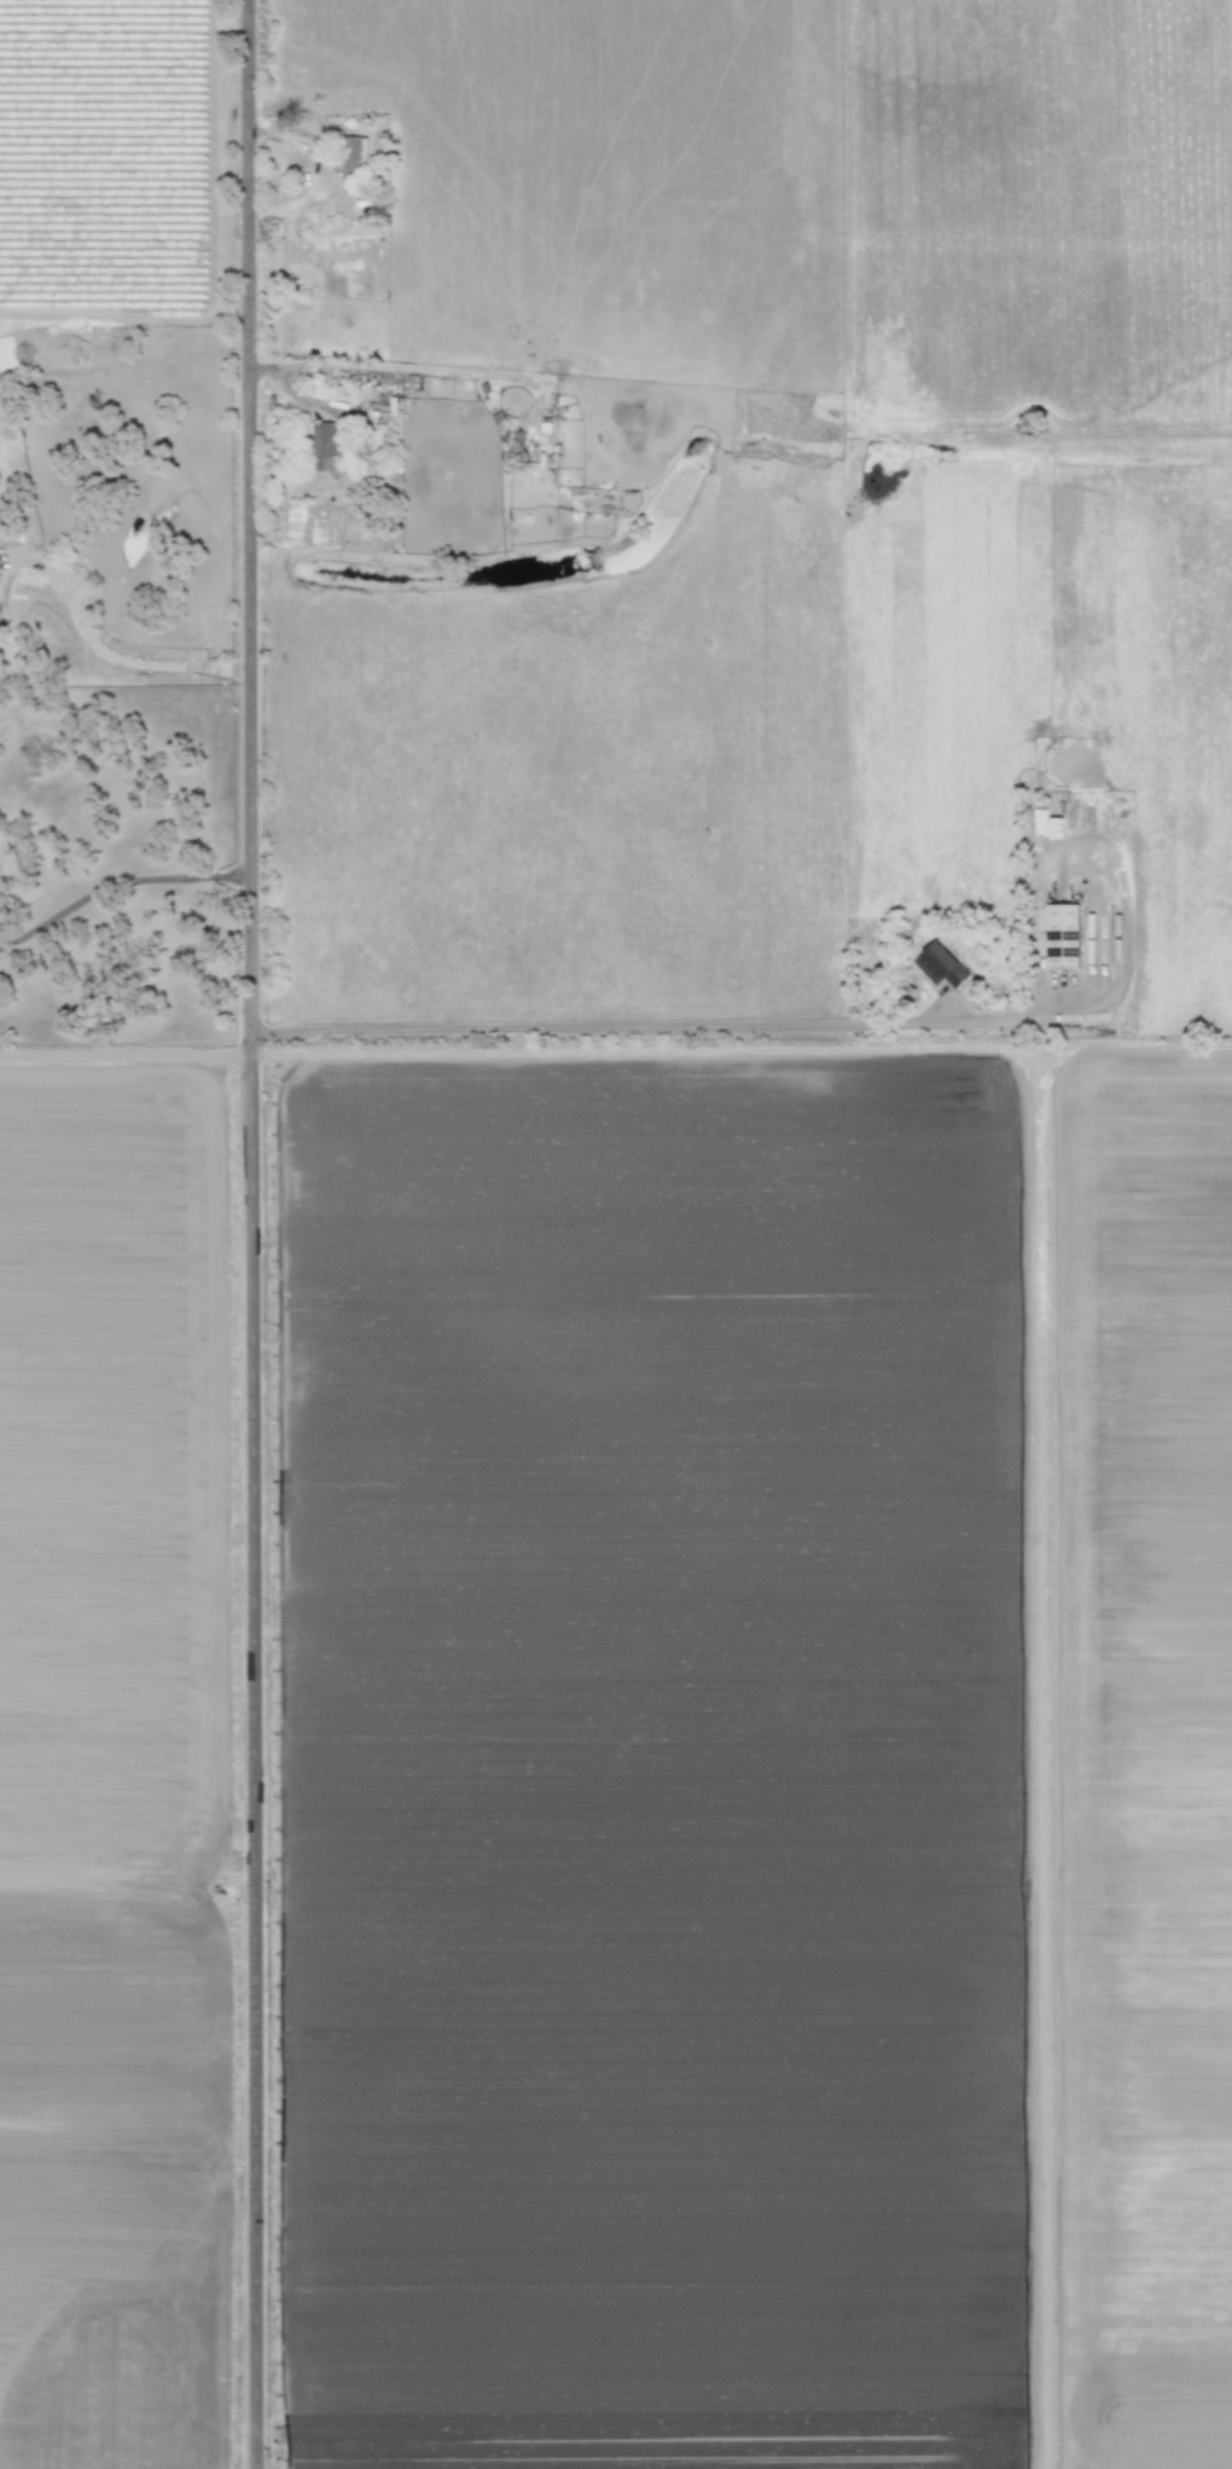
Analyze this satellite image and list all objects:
building: (351, 153)
building: (7, 353)
building: (321, 446)
road: (111, 648)
road: (115, 885)
building: (1063, 935)
building: (938, 966)
road: (676, 1027)
road: (246, 1234)

